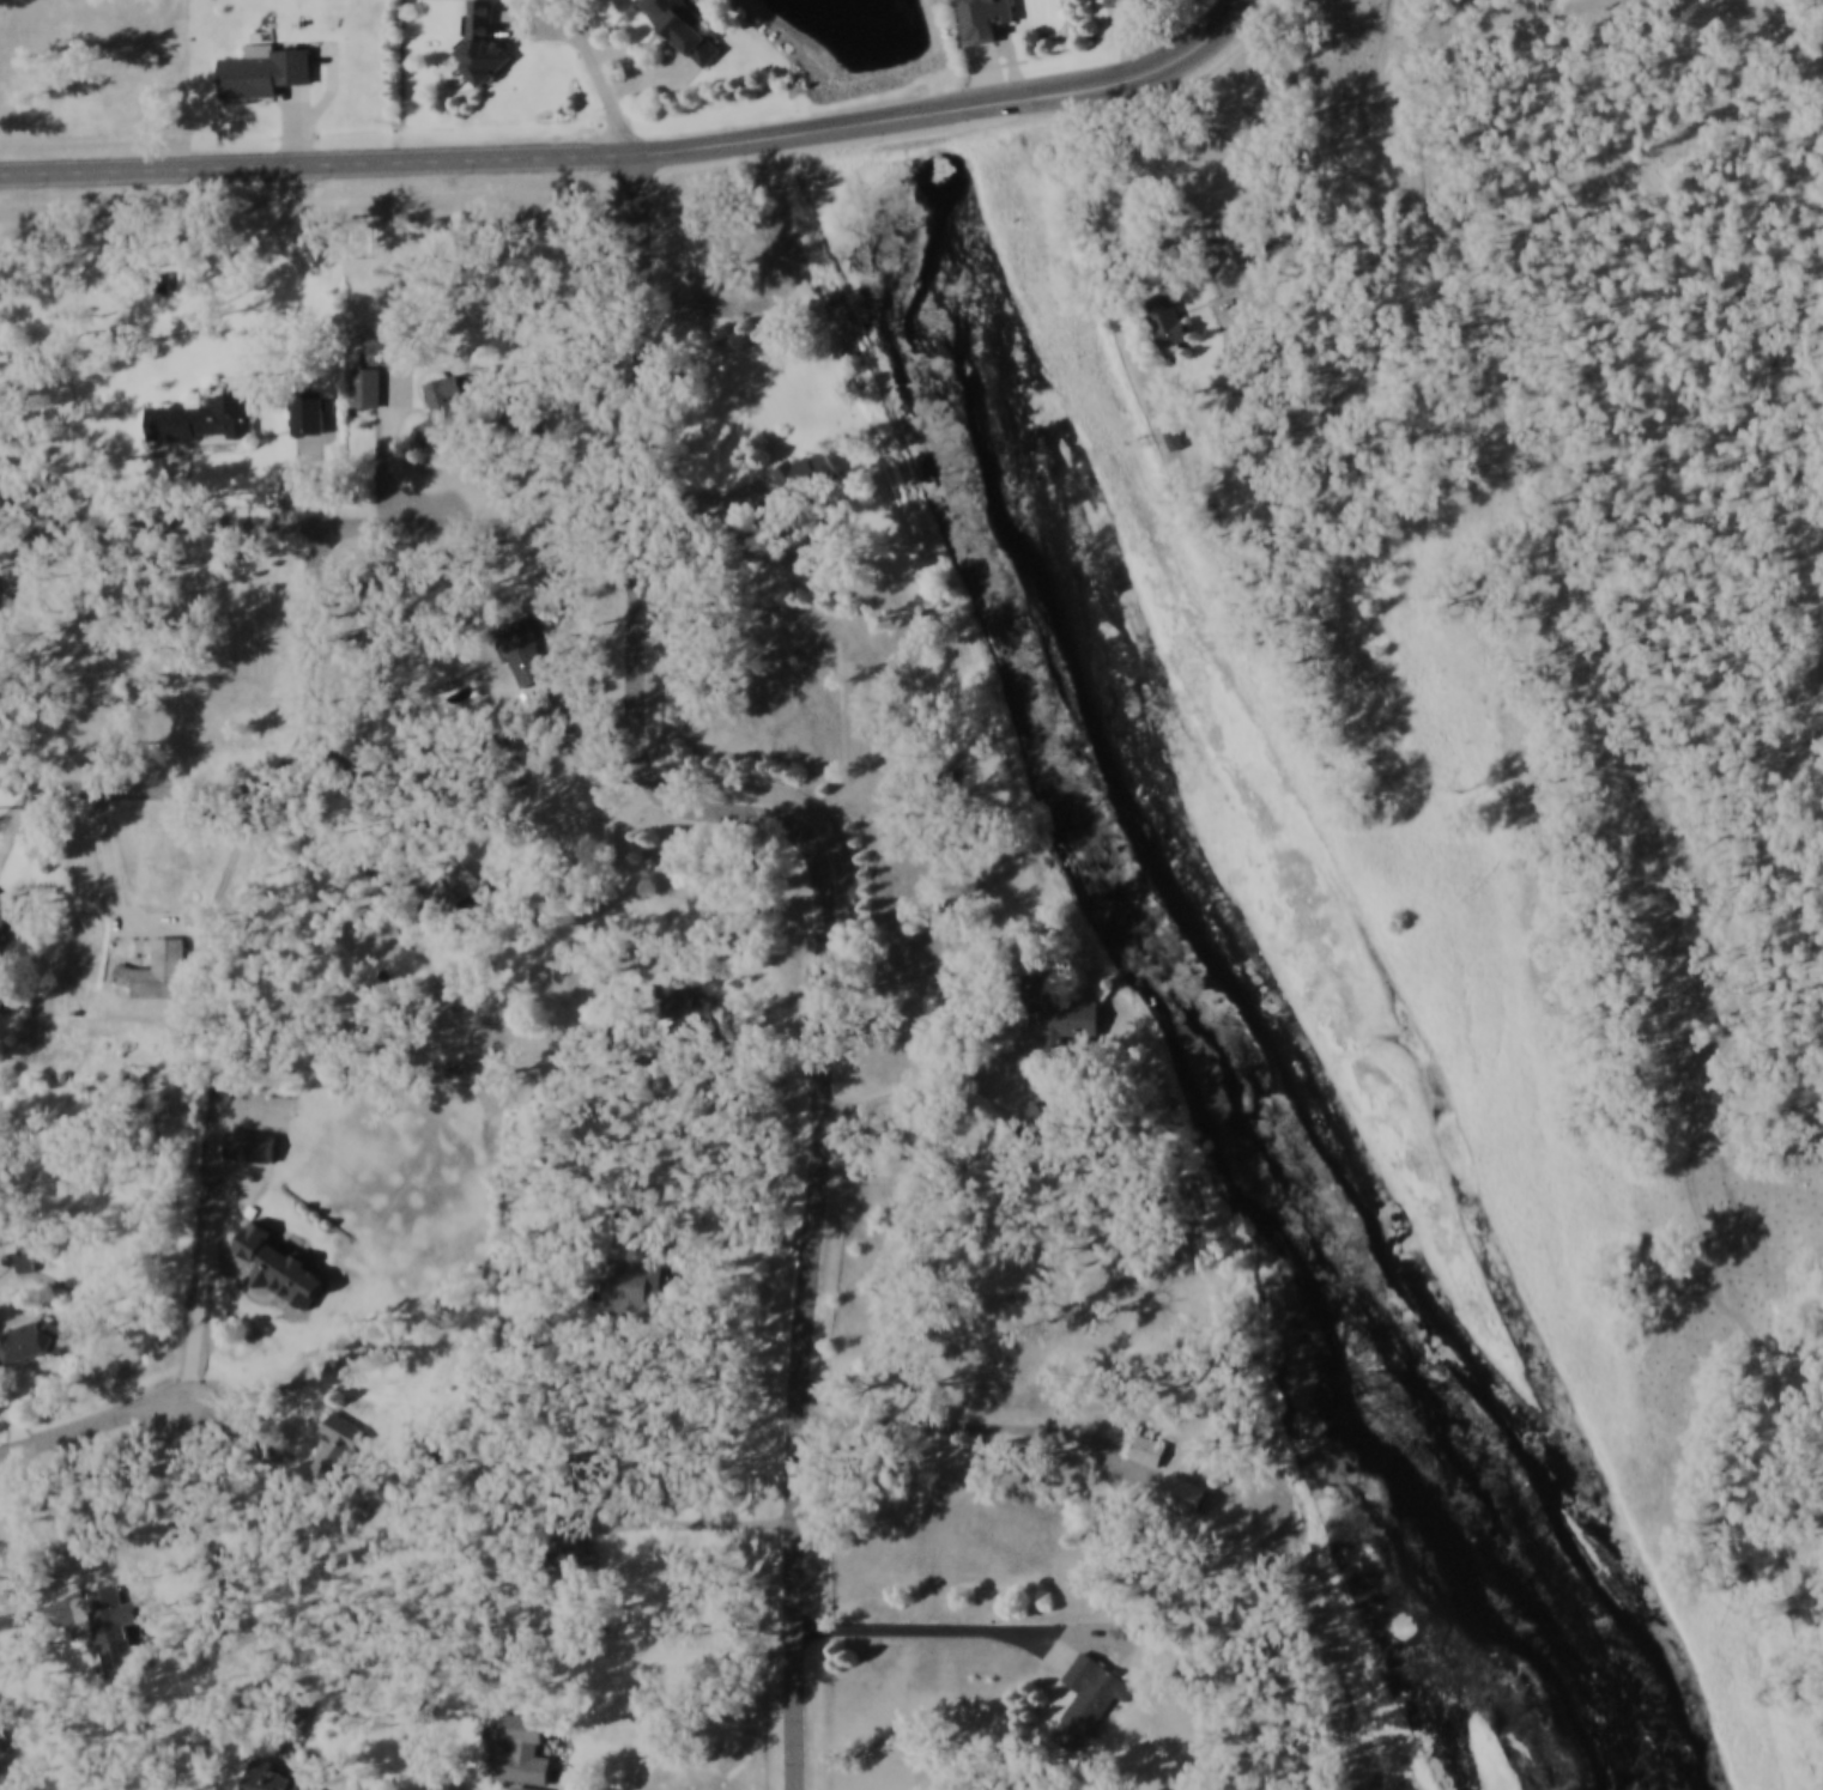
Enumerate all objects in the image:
building: (1125, 1)
road: (522, 11)
building: (986, 18)
road: (538, 23)
building: (686, 26)
road: (1159, 30)
building: (482, 41)
road: (626, 50)
road: (944, 55)
road: (814, 62)
road: (1000, 65)
building: (264, 71)
road: (602, 78)
road: (656, 79)
road: (1109, 85)
road: (333, 89)
road: (993, 120)
road: (299, 127)
road: (476, 168)
road: (1307, 175)
building: (1174, 318)
building: (1256, 352)
building: (367, 387)
building: (331, 401)
building: (471, 408)
building: (308, 411)
building: (201, 414)
road: (637, 436)
building: (1185, 439)
road: (393, 454)
road: (32, 465)
building: (808, 471)
road: (301, 478)
road: (183, 481)
road: (467, 481)
road: (22, 502)
building: (771, 506)
road: (53, 518)
road: (734, 536)
road: (5, 584)
road: (6, 613)
building: (526, 653)
road: (2, 704)
road: (576, 723)
road: (528, 726)
building: (491, 744)
building: (937, 778)
road: (22, 807)
road: (418, 852)
road: (1666, 870)
road: (632, 884)
road: (116, 886)
park: (1576, 888)
building: (453, 892)
building: (5, 910)
park: (910, 915)
road: (410, 932)
building: (161, 970)
building: (1032, 990)
building: (447, 996)
building: (690, 1007)
building: (1073, 1020)
building: (646, 1070)
road: (1035, 1076)
road: (949, 1085)
road: (1004, 1093)
river: (1240, 1094)
building: (1032, 1123)
building: (250, 1146)
road: (818, 1191)
building: (635, 1197)
road: (234, 1225)
road: (710, 1240)
building: (24, 1263)
building: (278, 1268)
road: (205, 1279)
building: (634, 1288)
building: (31, 1342)
road: (17, 1424)
road: (95, 1426)
road: (950, 1426)
road: (244, 1442)
building: (1150, 1452)
building: (333, 1456)
building: (592, 1470)
building: (1188, 1494)
building: (277, 1500)
road: (605, 1507)
road: (688, 1523)
building: (571, 1548)
road: (46, 1616)
building: (114, 1627)
road: (940, 1627)
building: (1092, 1700)
building: (523, 1753)
road: (10, 1758)
road: (6, 1767)
river: (1647, 1772)
building: (279, 1779)
road: (561, 1782)
building: (520, 1789)

